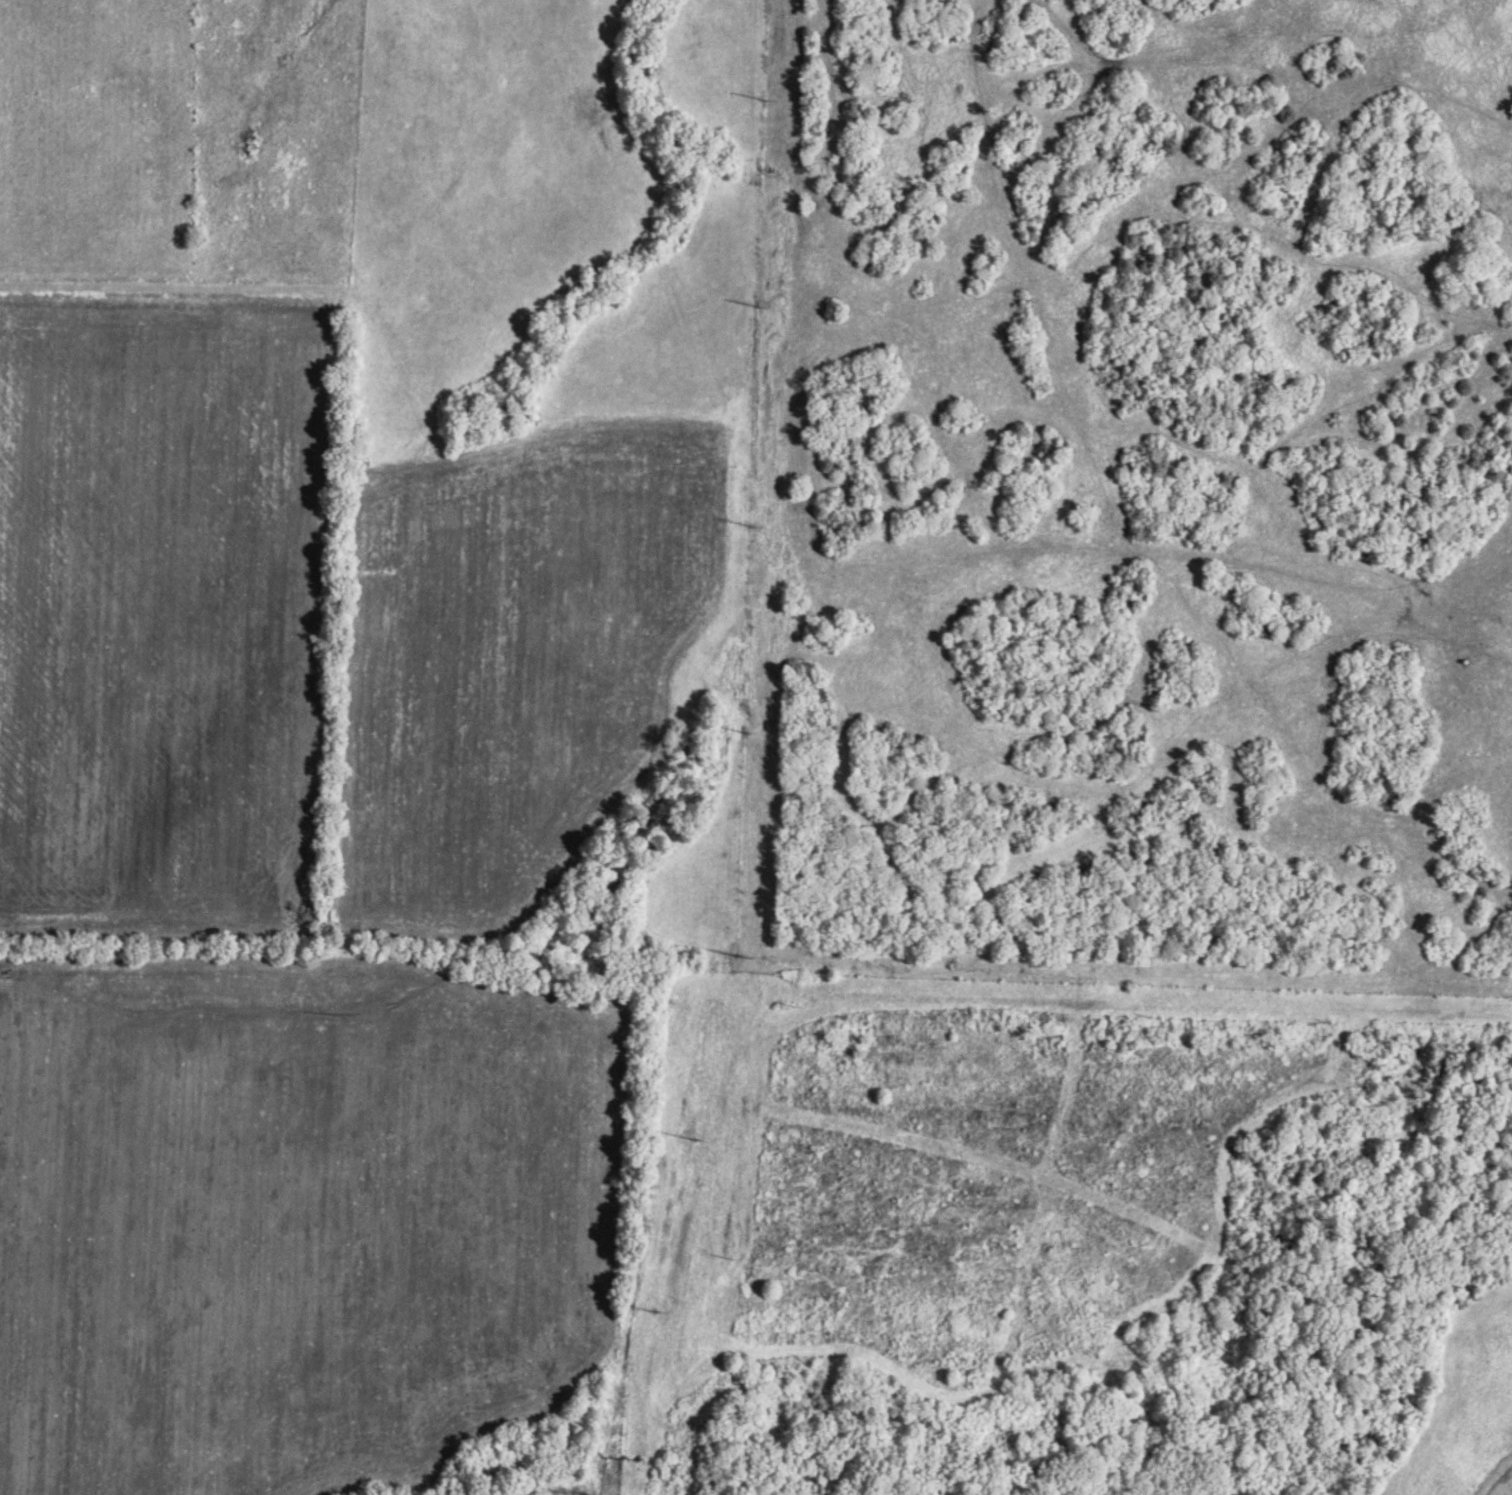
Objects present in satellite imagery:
power tower: (766, 96)
power tower: (760, 300)
power tower: (754, 522)
power tower: (747, 730)
power tower: (742, 952)
power tower: (697, 1136)
power tower: (656, 1306)
power tower: (607, 1492)

